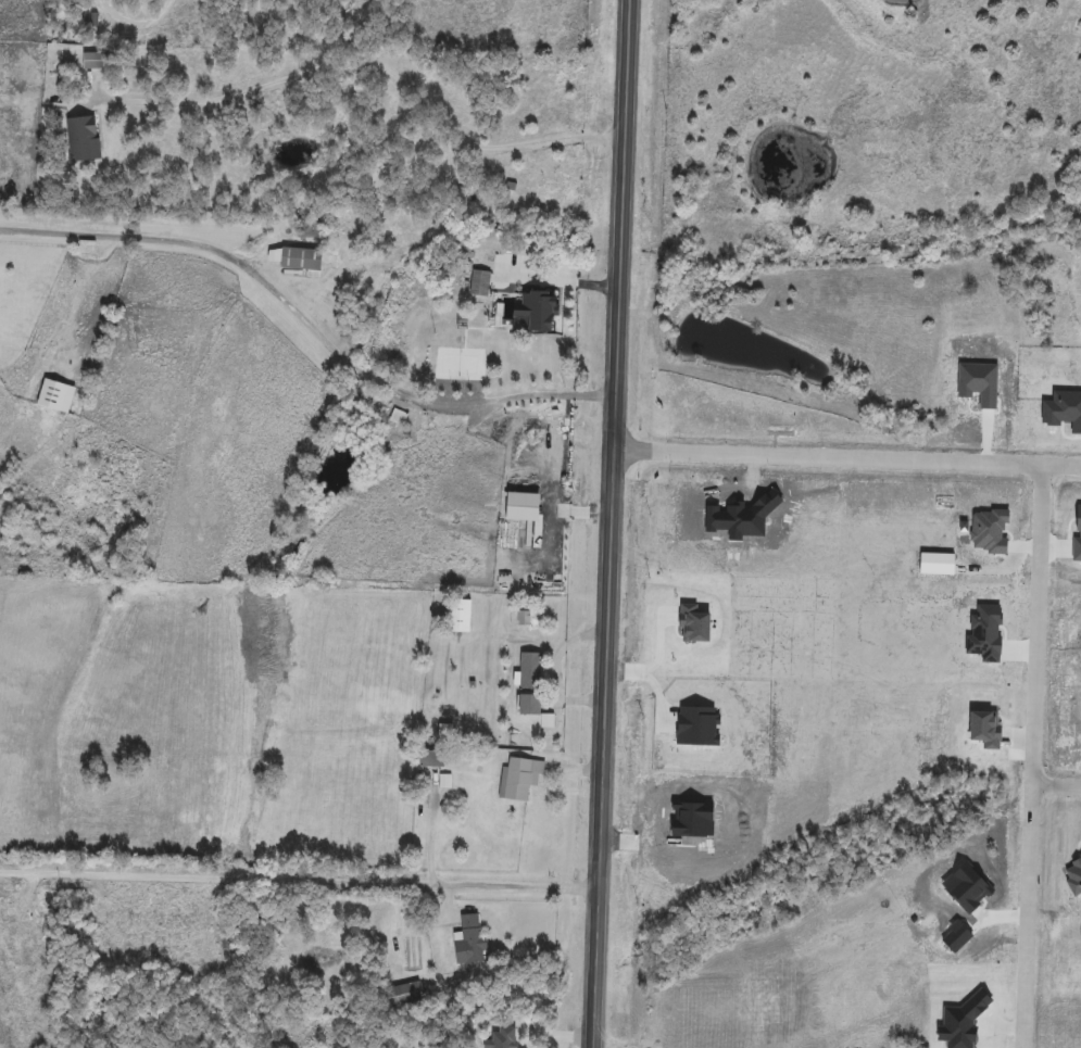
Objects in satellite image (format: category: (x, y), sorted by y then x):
road: (136, 21)
building: (92, 62)
road: (372, 65)
building: (81, 139)
building: (296, 261)
road: (557, 280)
building: (479, 282)
road: (306, 320)
building: (55, 395)
road: (1063, 464)
road: (611, 523)
road: (1041, 541)
building: (460, 616)
building: (530, 684)
building: (443, 736)
building: (432, 758)
building: (519, 778)
road: (1057, 784)
road: (300, 879)
building: (468, 940)
building: (404, 994)

